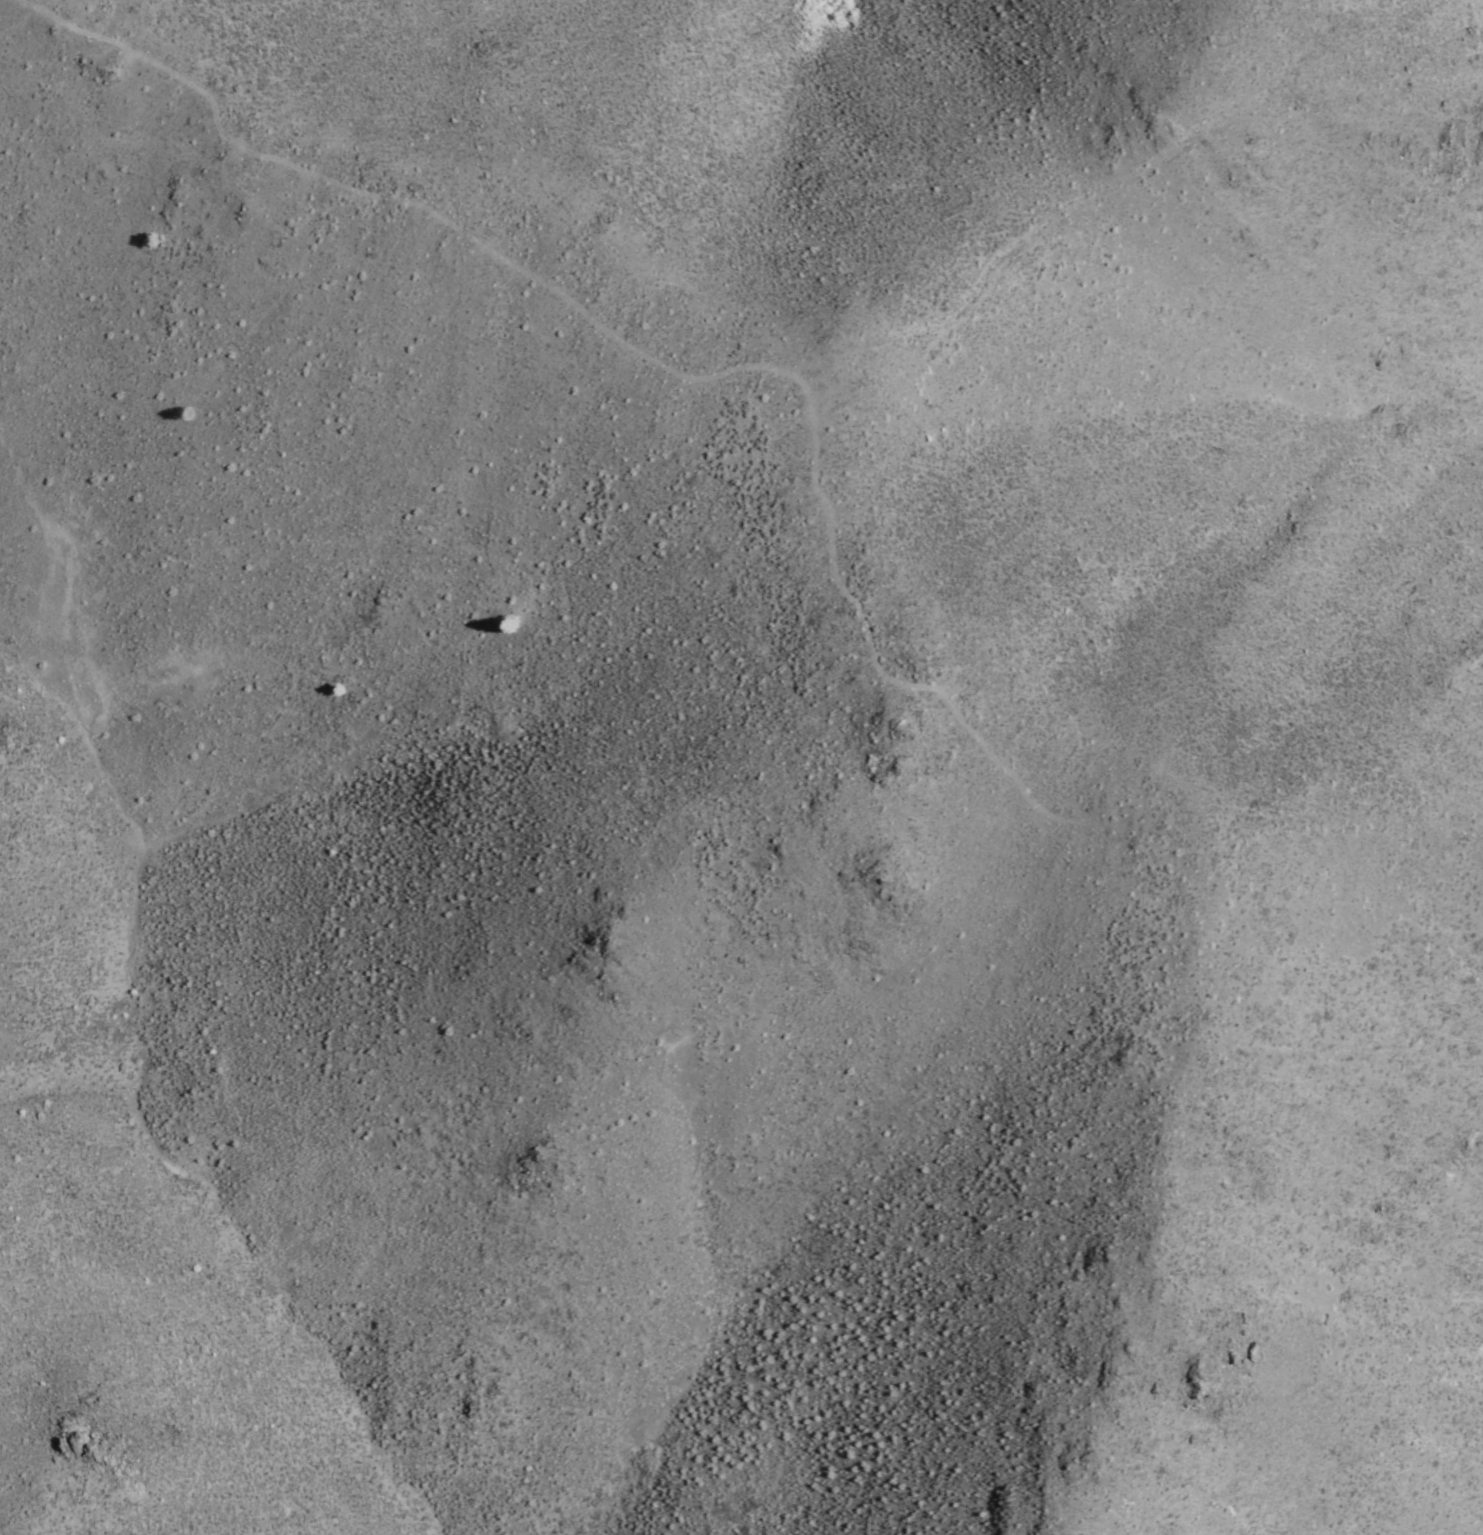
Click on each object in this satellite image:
road: (94, 33)

